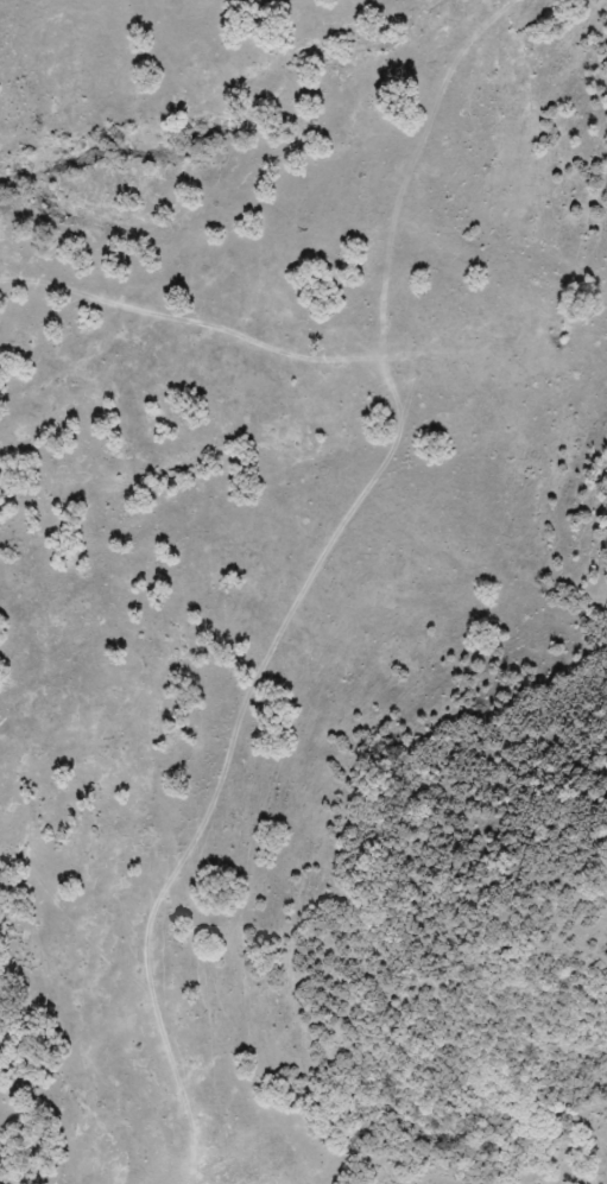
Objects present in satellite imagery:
road: (266, 614)

